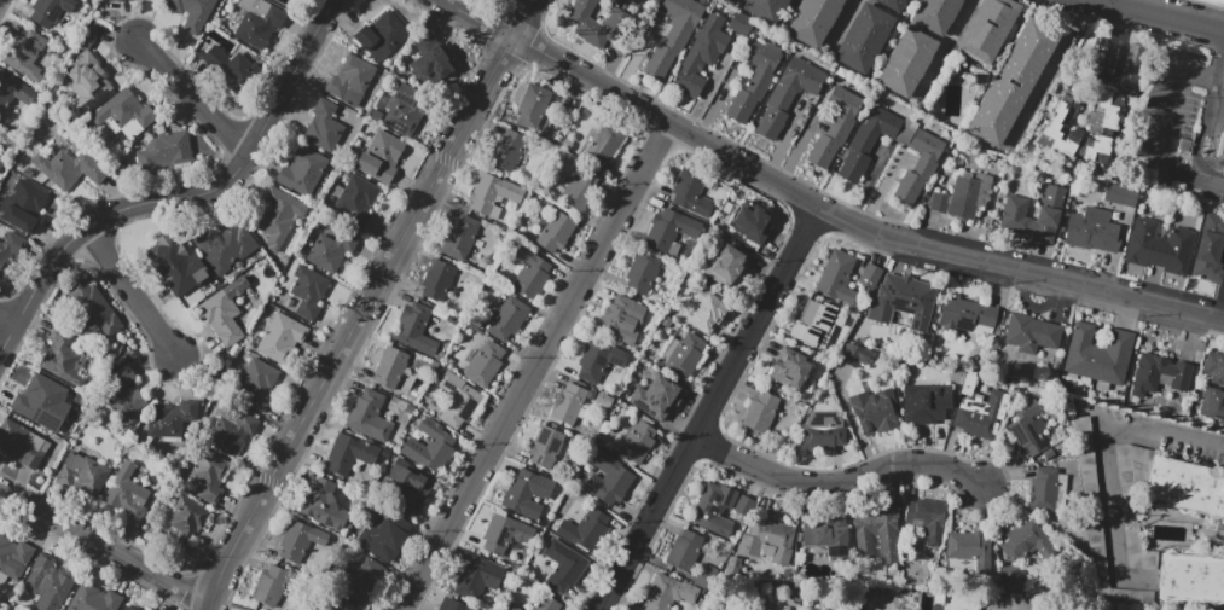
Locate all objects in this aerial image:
building: (116, 0)
building: (637, 1)
building: (1214, 1)
building: (892, 4)
building: (765, 8)
building: (48, 12)
building: (192, 12)
building: (935, 14)
road: (1160, 16)
road: (475, 19)
building: (813, 21)
building: (256, 22)
building: (597, 22)
road: (842, 22)
building: (987, 29)
building: (381, 35)
building: (673, 36)
building: (863, 37)
road: (1115, 40)
road: (947, 42)
building: (25, 56)
building: (700, 56)
building: (429, 60)
building: (906, 63)
building: (1131, 65)
road: (1048, 68)
building: (232, 69)
building: (350, 81)
building: (754, 81)
building: (1013, 82)
building: (87, 85)
building: (13, 91)
building: (789, 93)
road: (195, 94)
building: (532, 106)
building: (406, 110)
building: (1103, 111)
building: (124, 114)
road: (1216, 114)
road: (1206, 122)
building: (324, 127)
building: (835, 127)
building: (1051, 128)
road: (1162, 134)
building: (866, 143)
building: (598, 145)
building: (1096, 149)
building: (1222, 150)
building: (164, 151)
building: (507, 151)
building: (379, 156)
building: (1, 162)
building: (918, 167)
building: (68, 168)
building: (1223, 168)
building: (302, 172)
building: (580, 188)
building: (691, 192)
building: (492, 194)
road: (182, 196)
building: (963, 196)
building: (1120, 196)
building: (356, 201)
building: (25, 207)
building: (1014, 210)
building: (278, 216)
road: (852, 219)
building: (755, 223)
building: (553, 230)
building: (669, 231)
building: (1094, 231)
building: (459, 238)
building: (225, 244)
building: (331, 249)
building: (1210, 249)
building: (8, 250)
building: (1162, 250)
building: (169, 263)
building: (238, 265)
building: (725, 266)
building: (530, 272)
building: (642, 273)
building: (1150, 273)
building: (870, 275)
building: (837, 278)
building: (437, 279)
road: (132, 290)
building: (307, 290)
building: (904, 302)
road: (366, 303)
building: (93, 307)
building: (707, 309)
building: (224, 312)
building: (965, 314)
building: (507, 318)
road: (7, 320)
building: (622, 320)
building: (817, 320)
building: (431, 330)
building: (418, 331)
building: (1031, 333)
building: (280, 337)
building: (852, 354)
building: (1100, 354)
building: (684, 355)
building: (65, 358)
building: (598, 360)
building: (483, 364)
road: (535, 366)
building: (390, 367)
building: (1213, 367)
building: (790, 371)
building: (1159, 374)
building: (259, 383)
road: (723, 389)
building: (1014, 389)
building: (126, 395)
building: (656, 399)
building: (458, 400)
building: (40, 401)
building: (568, 402)
building: (926, 403)
building: (1212, 403)
building: (979, 409)
building: (875, 411)
building: (760, 412)
building: (369, 417)
building: (170, 418)
building: (231, 430)
building: (822, 431)
building: (1028, 431)
road: (1164, 432)
building: (634, 441)
building: (21, 445)
building: (429, 447)
building: (546, 447)
building: (349, 453)
building: (1049, 453)
building: (1085, 461)
building: (1130, 464)
building: (82, 474)
building: (207, 477)
building: (607, 478)
road: (837, 480)
building: (408, 484)
building: (1188, 487)
building: (1043, 489)
building: (526, 493)
building: (127, 495)
road: (1109, 499)
building: (321, 505)
building: (714, 505)
building: (742, 505)
building: (927, 519)
building: (186, 523)
building: (584, 530)
building: (877, 531)
building: (504, 533)
building: (833, 536)
building: (385, 539)
building: (767, 540)
building: (1026, 541)
road: (105, 542)
building: (301, 544)
building: (970, 548)
building: (684, 550)
building: (1135, 550)
building: (14, 557)
building: (1101, 564)
building: (565, 571)
building: (477, 576)
building: (1013, 577)
building: (360, 579)
building: (1190, 580)
building: (48, 582)
building: (273, 585)
road: (610, 592)
building: (665, 593)
building: (93, 598)
building: (336, 604)
building: (453, 604)
building: (546, 604)
building: (127, 608)
building: (515, 608)

